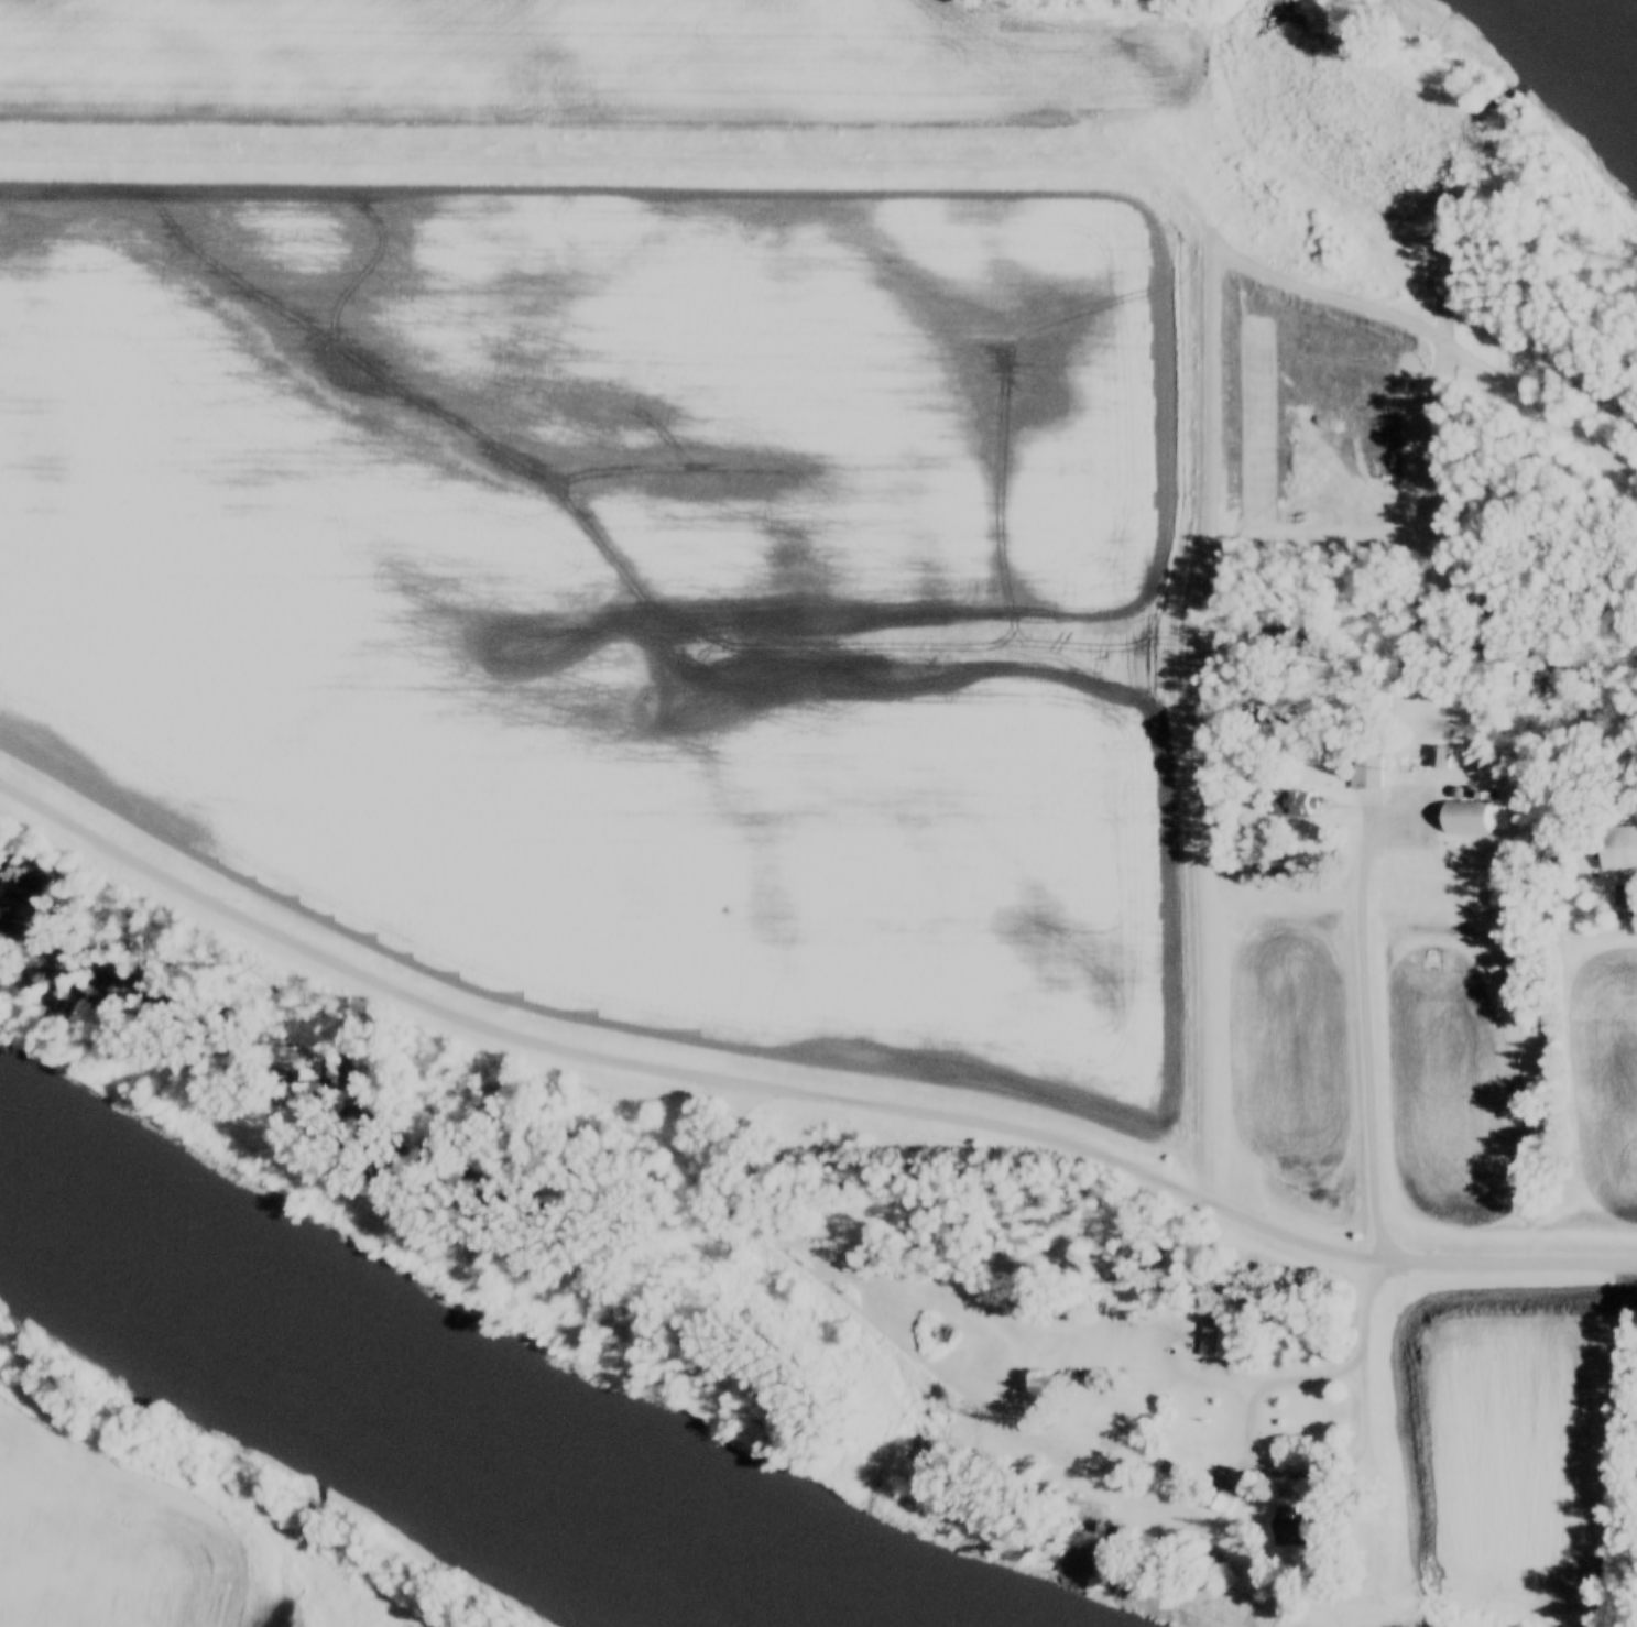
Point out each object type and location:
river: (1593, 40)
road: (872, 160)
road: (1187, 721)
building: (1439, 758)
building: (1364, 761)
building: (1294, 805)
building: (1466, 815)
building: (1617, 849)
building: (1625, 902)
road: (1385, 1007)
road: (681, 1071)
road: (1516, 1260)
building: (1220, 1335)
river: (429, 1395)
building: (1094, 1421)
road: (1312, 1472)
building: (1214, 1498)
building: (1288, 1525)

